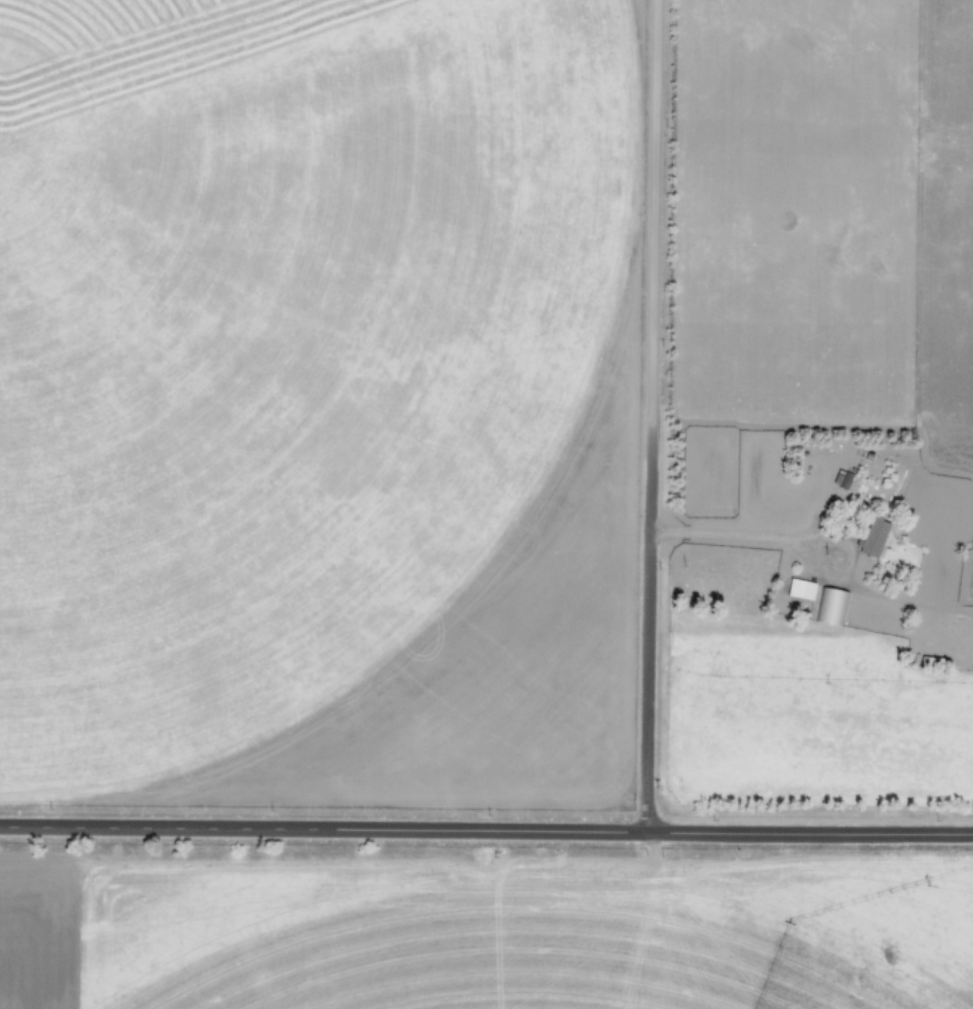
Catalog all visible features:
road: (647, 416)
building: (841, 478)
building: (873, 536)
building: (800, 588)
building: (831, 606)
road: (486, 831)

